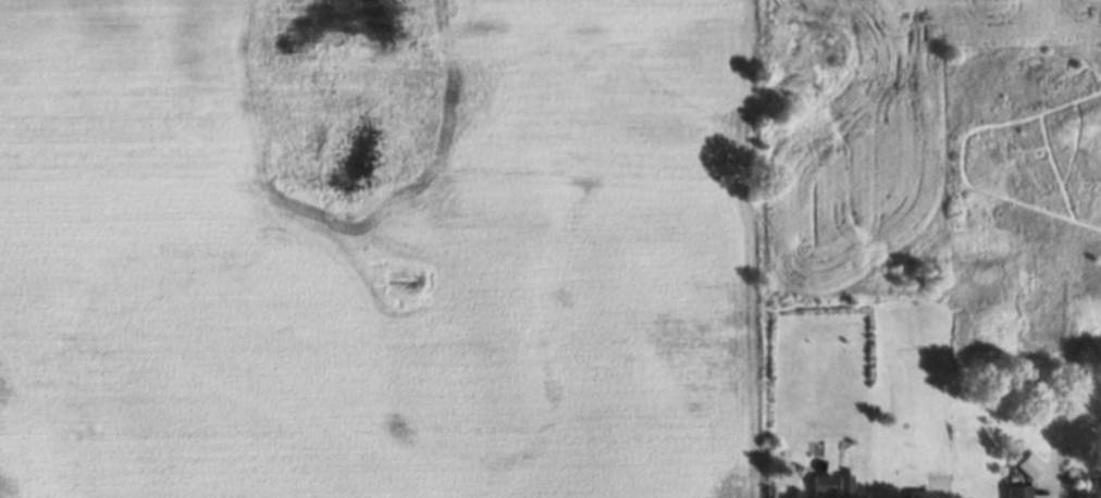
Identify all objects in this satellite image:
building: (1030, 465)
building: (844, 483)
building: (821, 484)
building: (1019, 490)
building: (797, 494)

